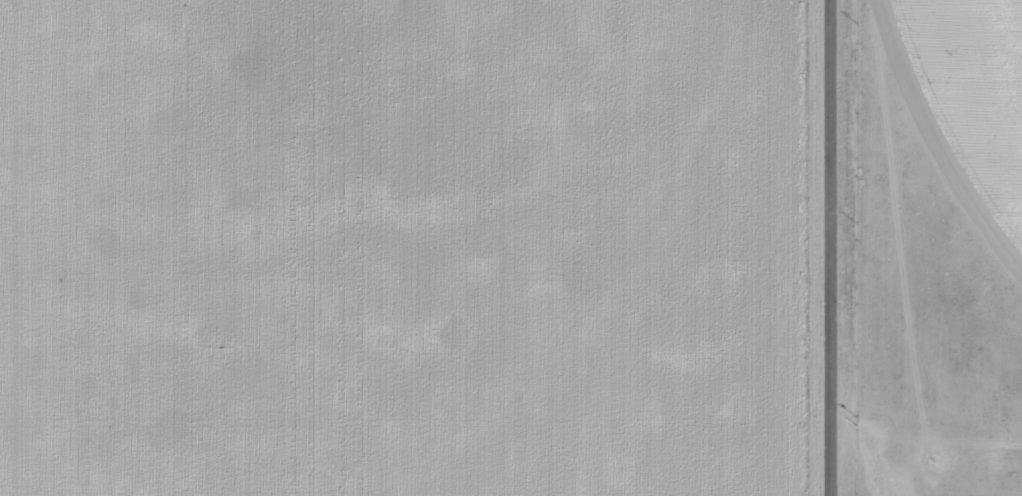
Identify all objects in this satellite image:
road: (849, 248)

